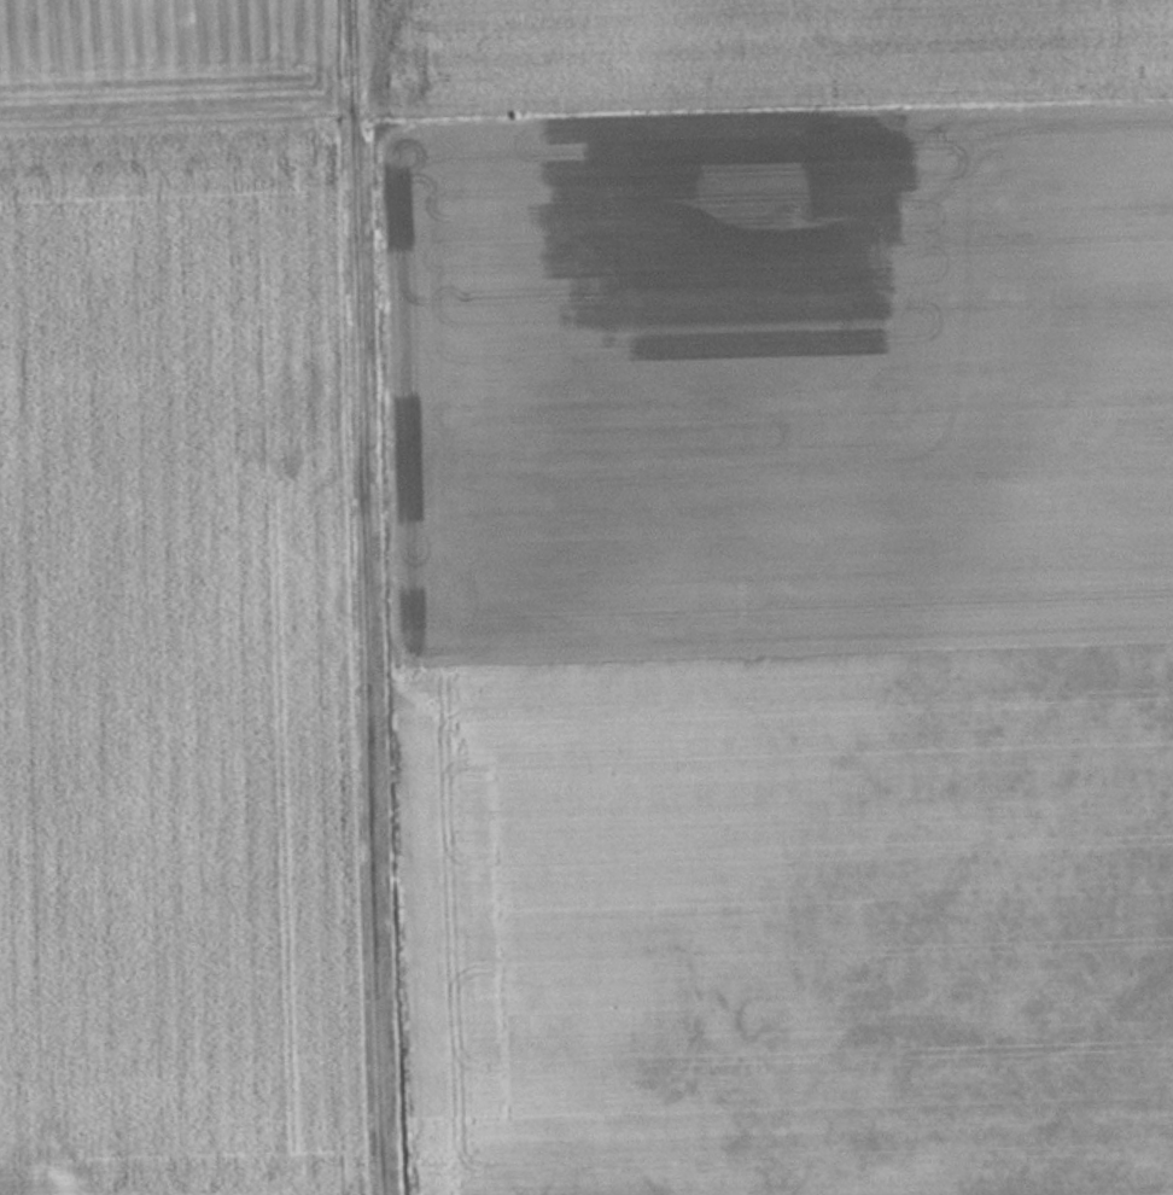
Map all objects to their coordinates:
road: (374, 597)

